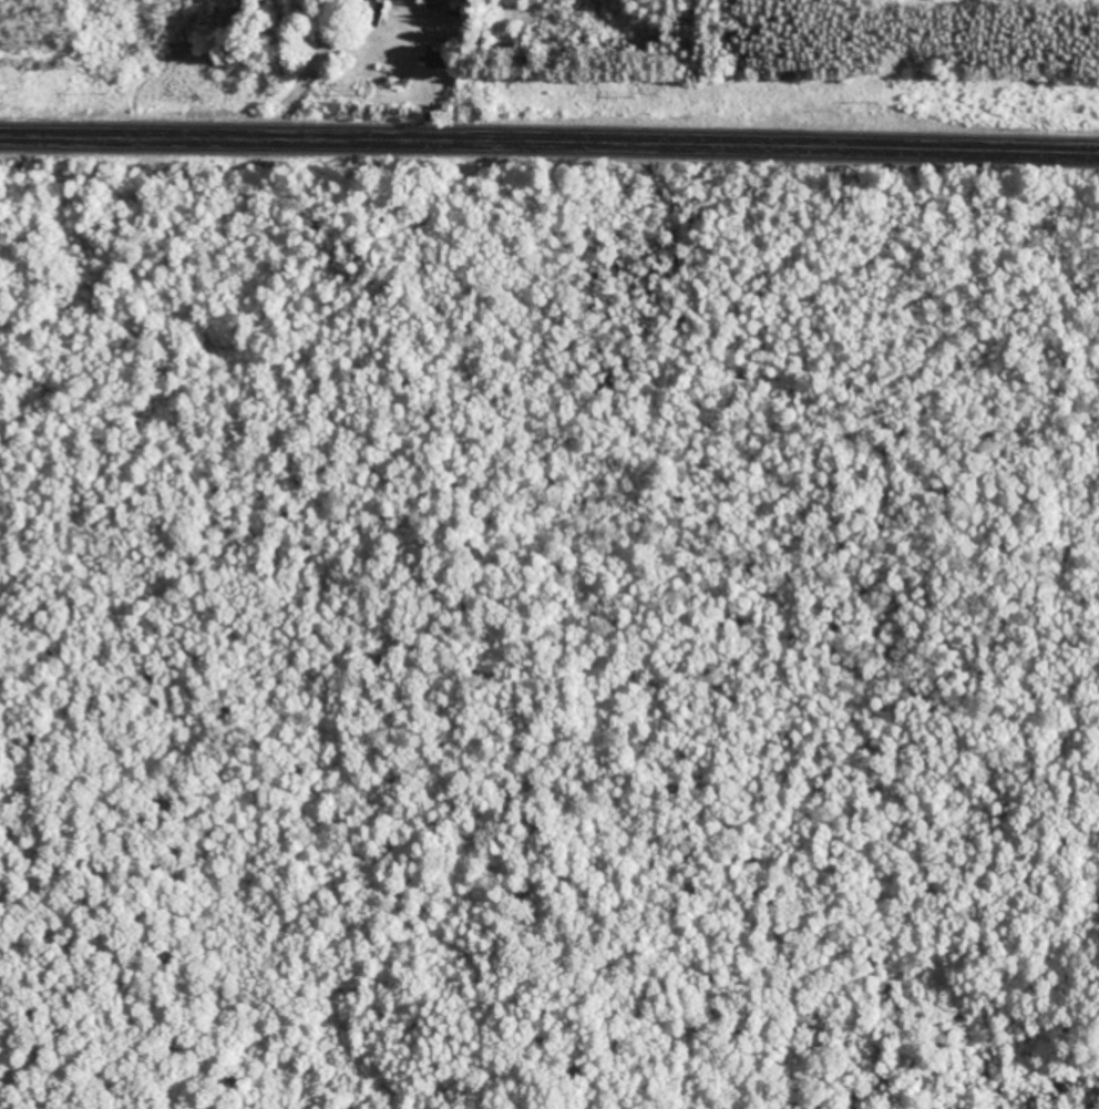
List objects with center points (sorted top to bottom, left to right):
building: (431, 3)
building: (373, 11)
building: (439, 55)
power tower: (112, 93)
power tower: (373, 95)
power tower: (640, 97)
power tower: (880, 101)
road: (549, 142)

